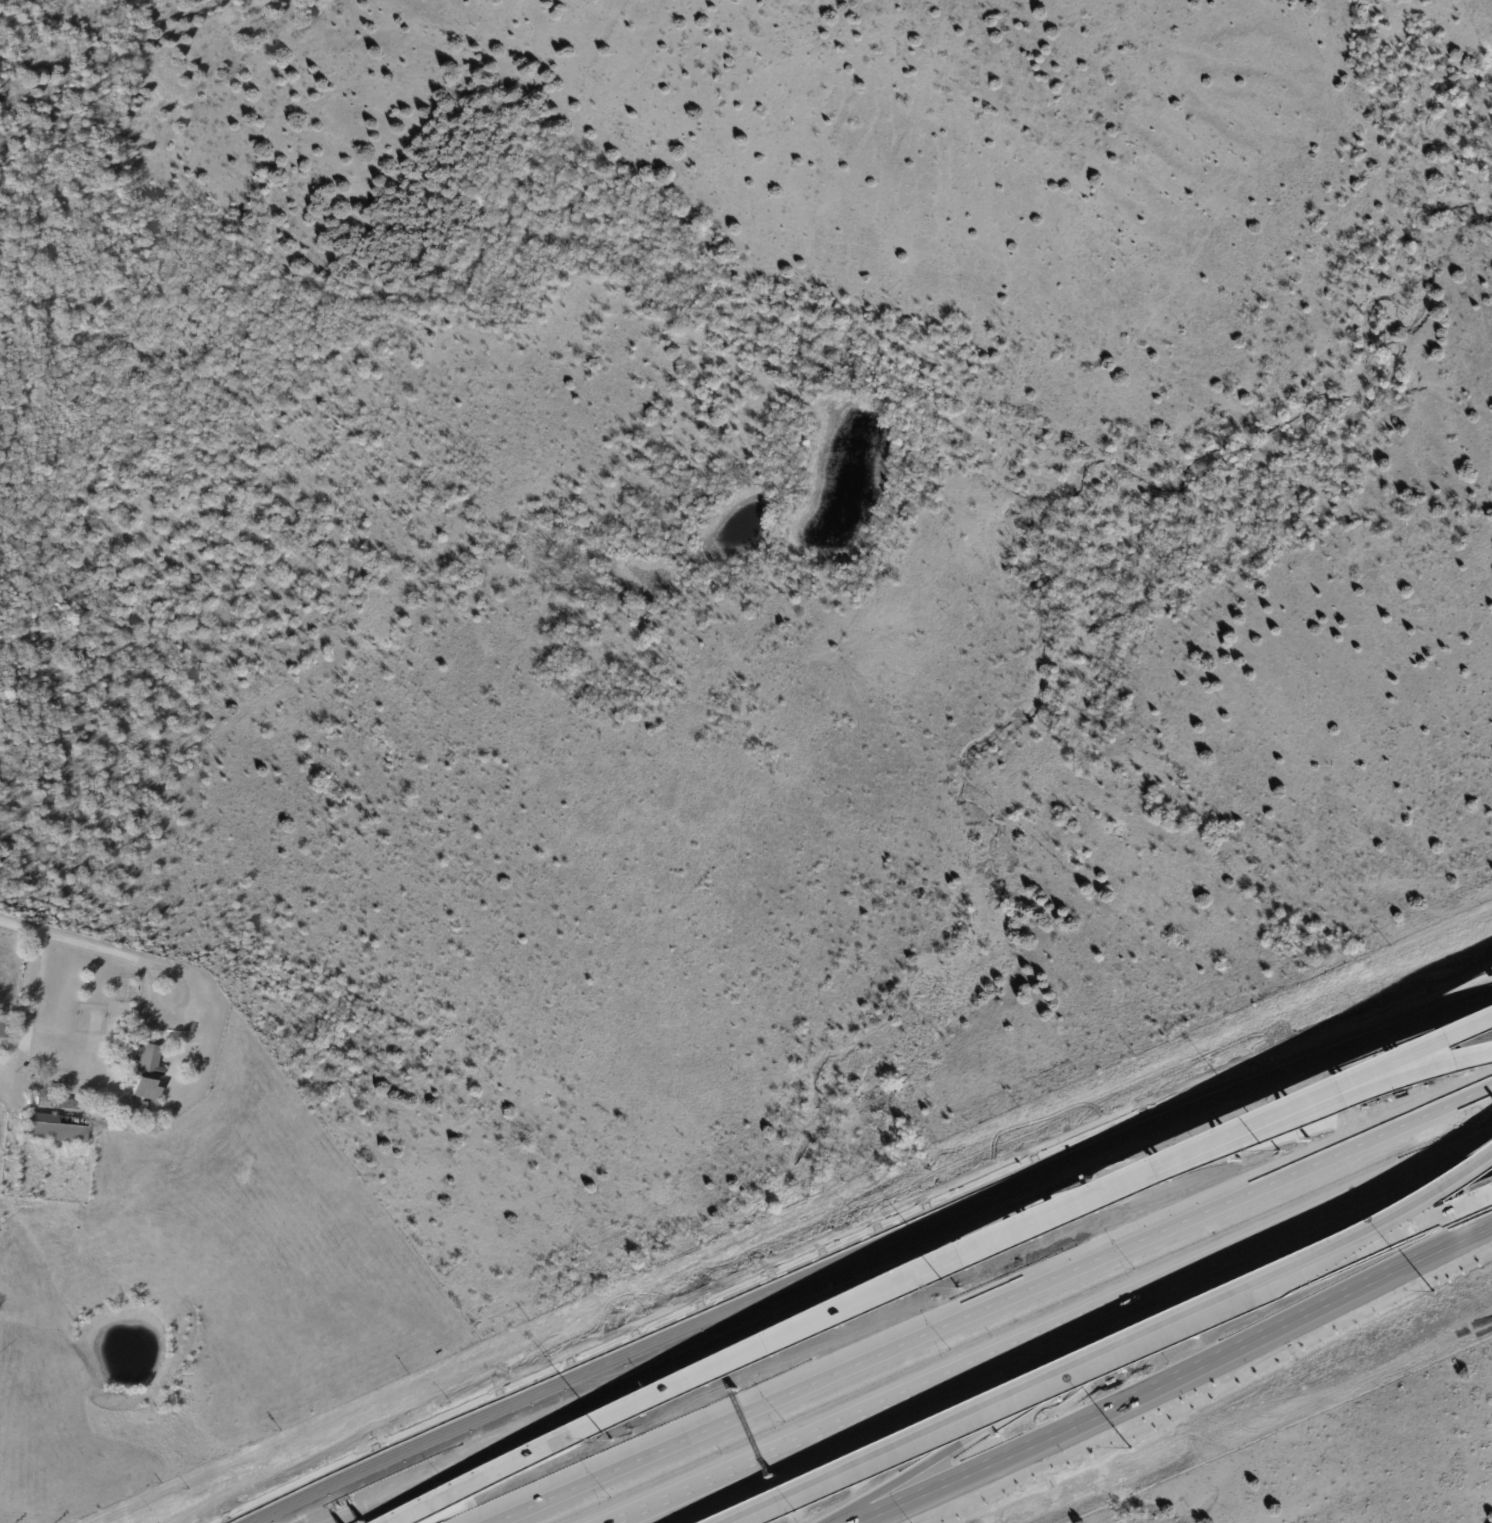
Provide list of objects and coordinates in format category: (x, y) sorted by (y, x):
building: (108, 170)
building: (151, 244)
road: (96, 948)
road: (32, 989)
building: (5, 1029)
building: (118, 1060)
road: (1390, 1066)
building: (146, 1073)
road: (1389, 1081)
building: (41, 1102)
building: (83, 1106)
building: (54, 1129)
road: (1124, 1139)
road: (1452, 1160)
road: (1126, 1177)
road: (1405, 1211)
road: (1403, 1228)
road: (919, 1278)
road: (985, 1301)
road: (635, 1348)
road: (1018, 1350)
road: (1123, 1351)
road: (1174, 1374)
road: (1023, 1394)
road: (1208, 1396)
road: (381, 1462)
road: (473, 1484)

